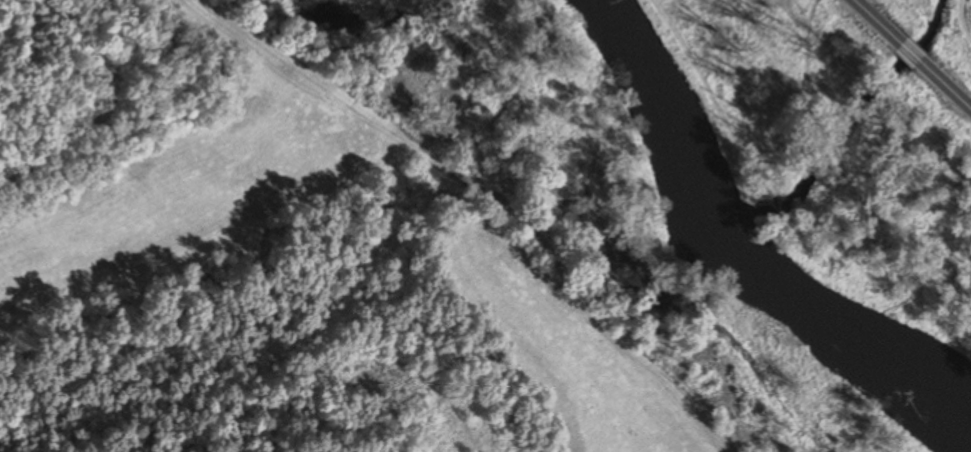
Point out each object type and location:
road: (873, 20)
road: (908, 52)
road: (946, 87)
river: (740, 266)

